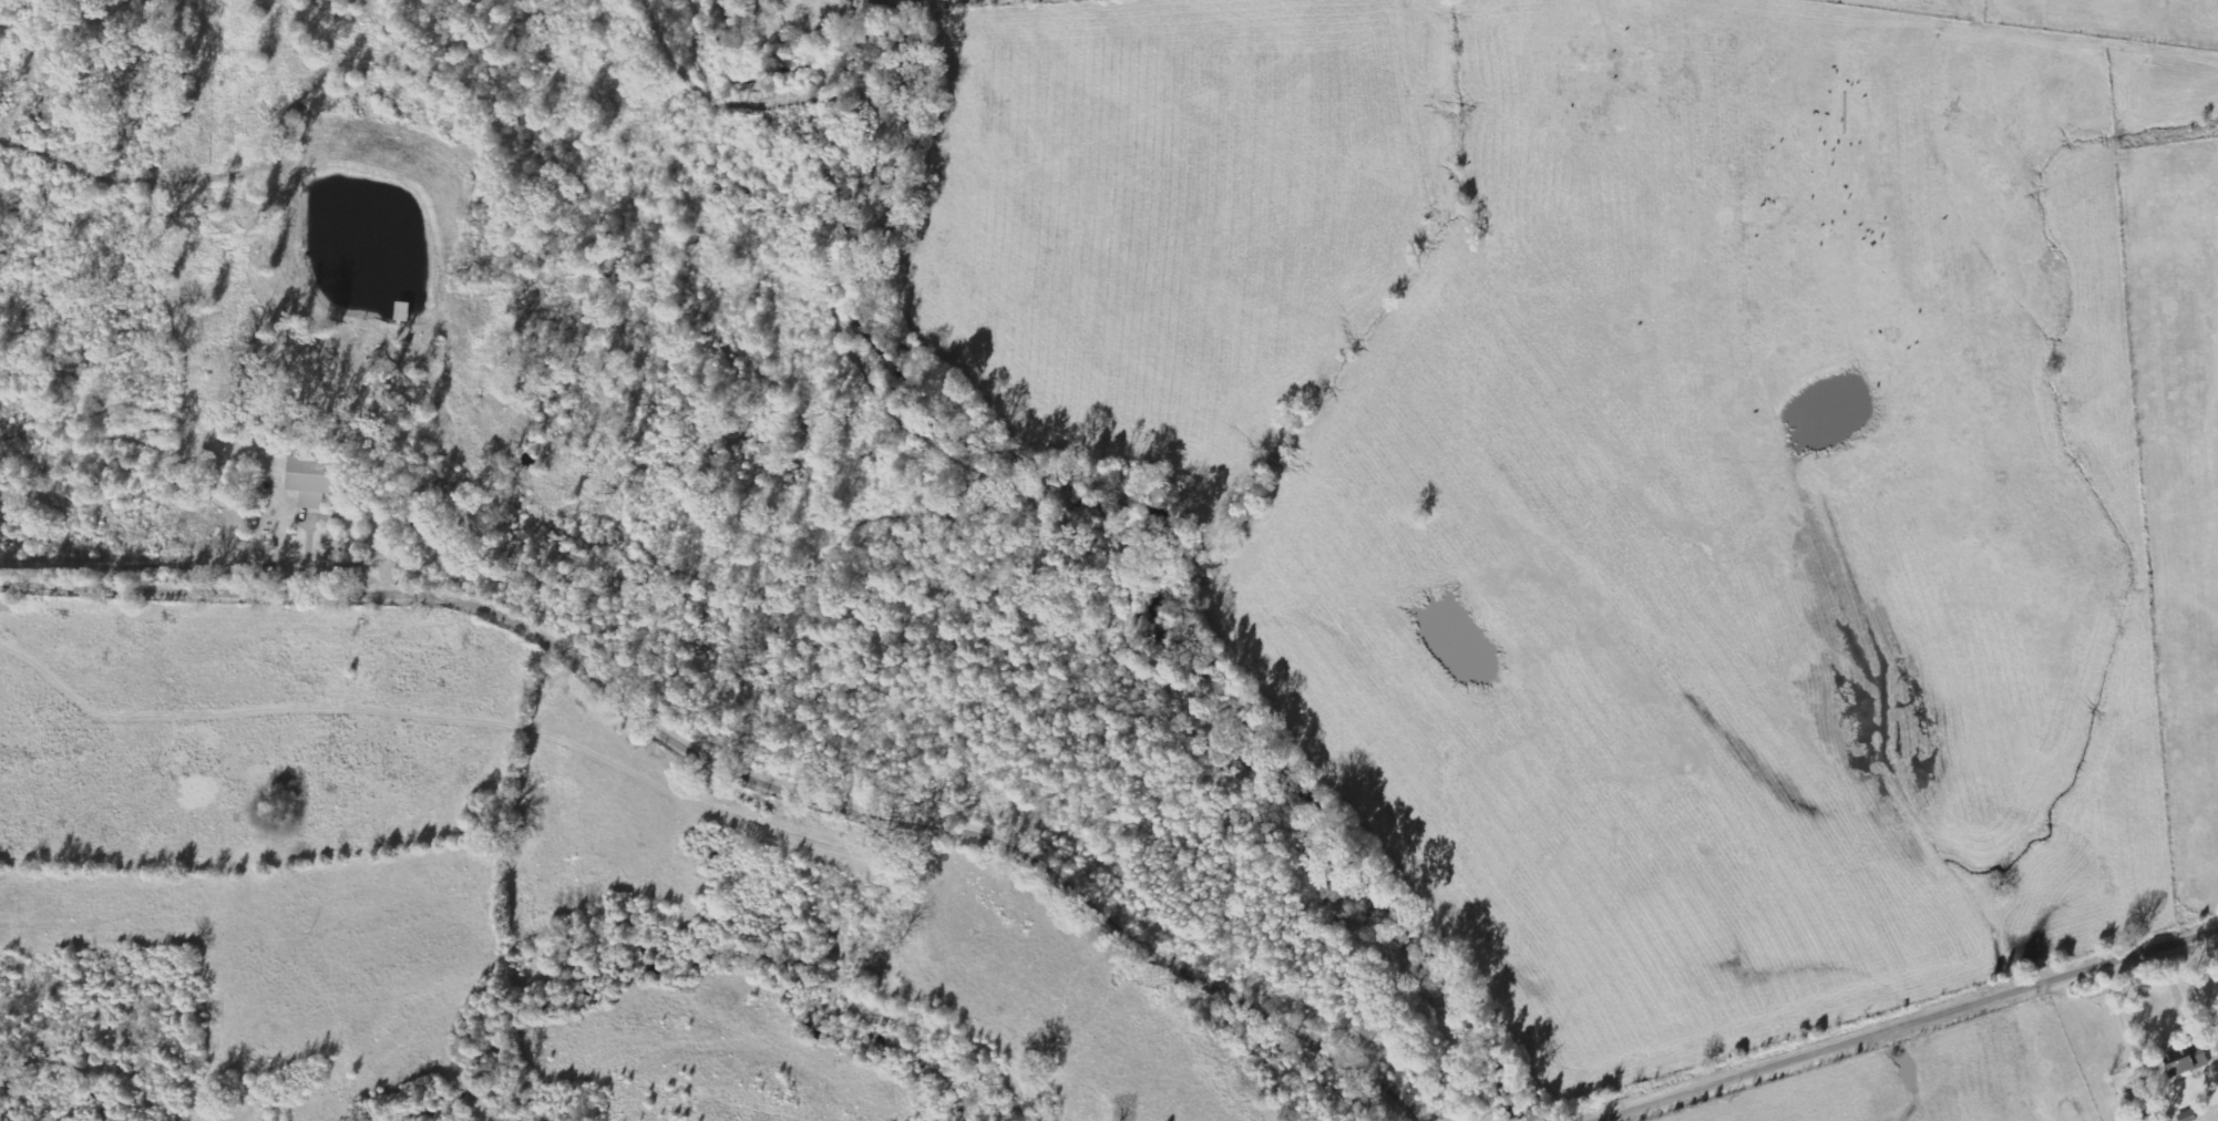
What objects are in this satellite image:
building: (316, 481)
road: (736, 765)
road: (1906, 1024)
building: (2193, 1061)

